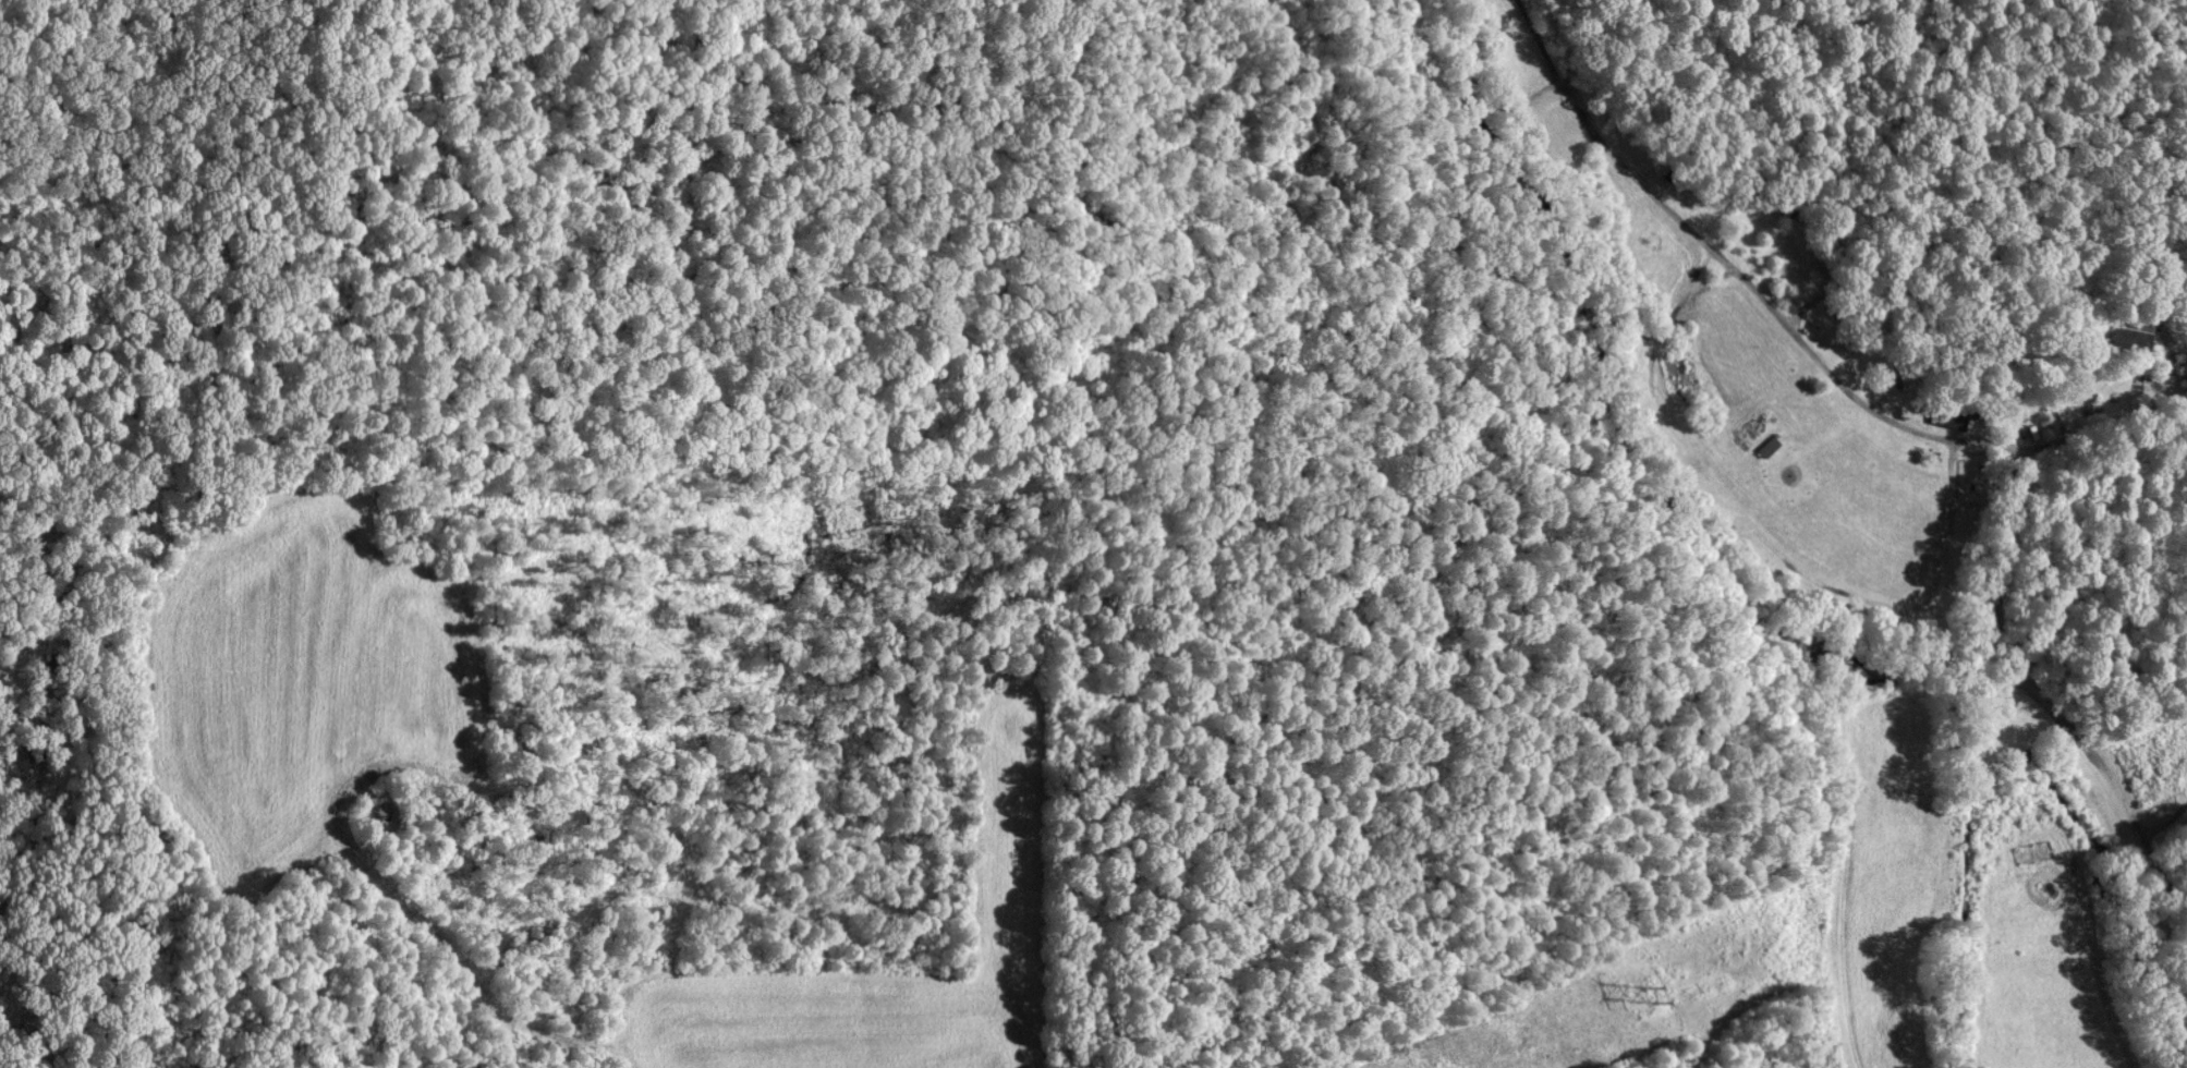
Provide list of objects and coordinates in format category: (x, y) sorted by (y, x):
building: (2134, 333)
building: (2184, 371)
building: (1945, 416)
road: (1990, 709)
power tower: (1649, 995)

